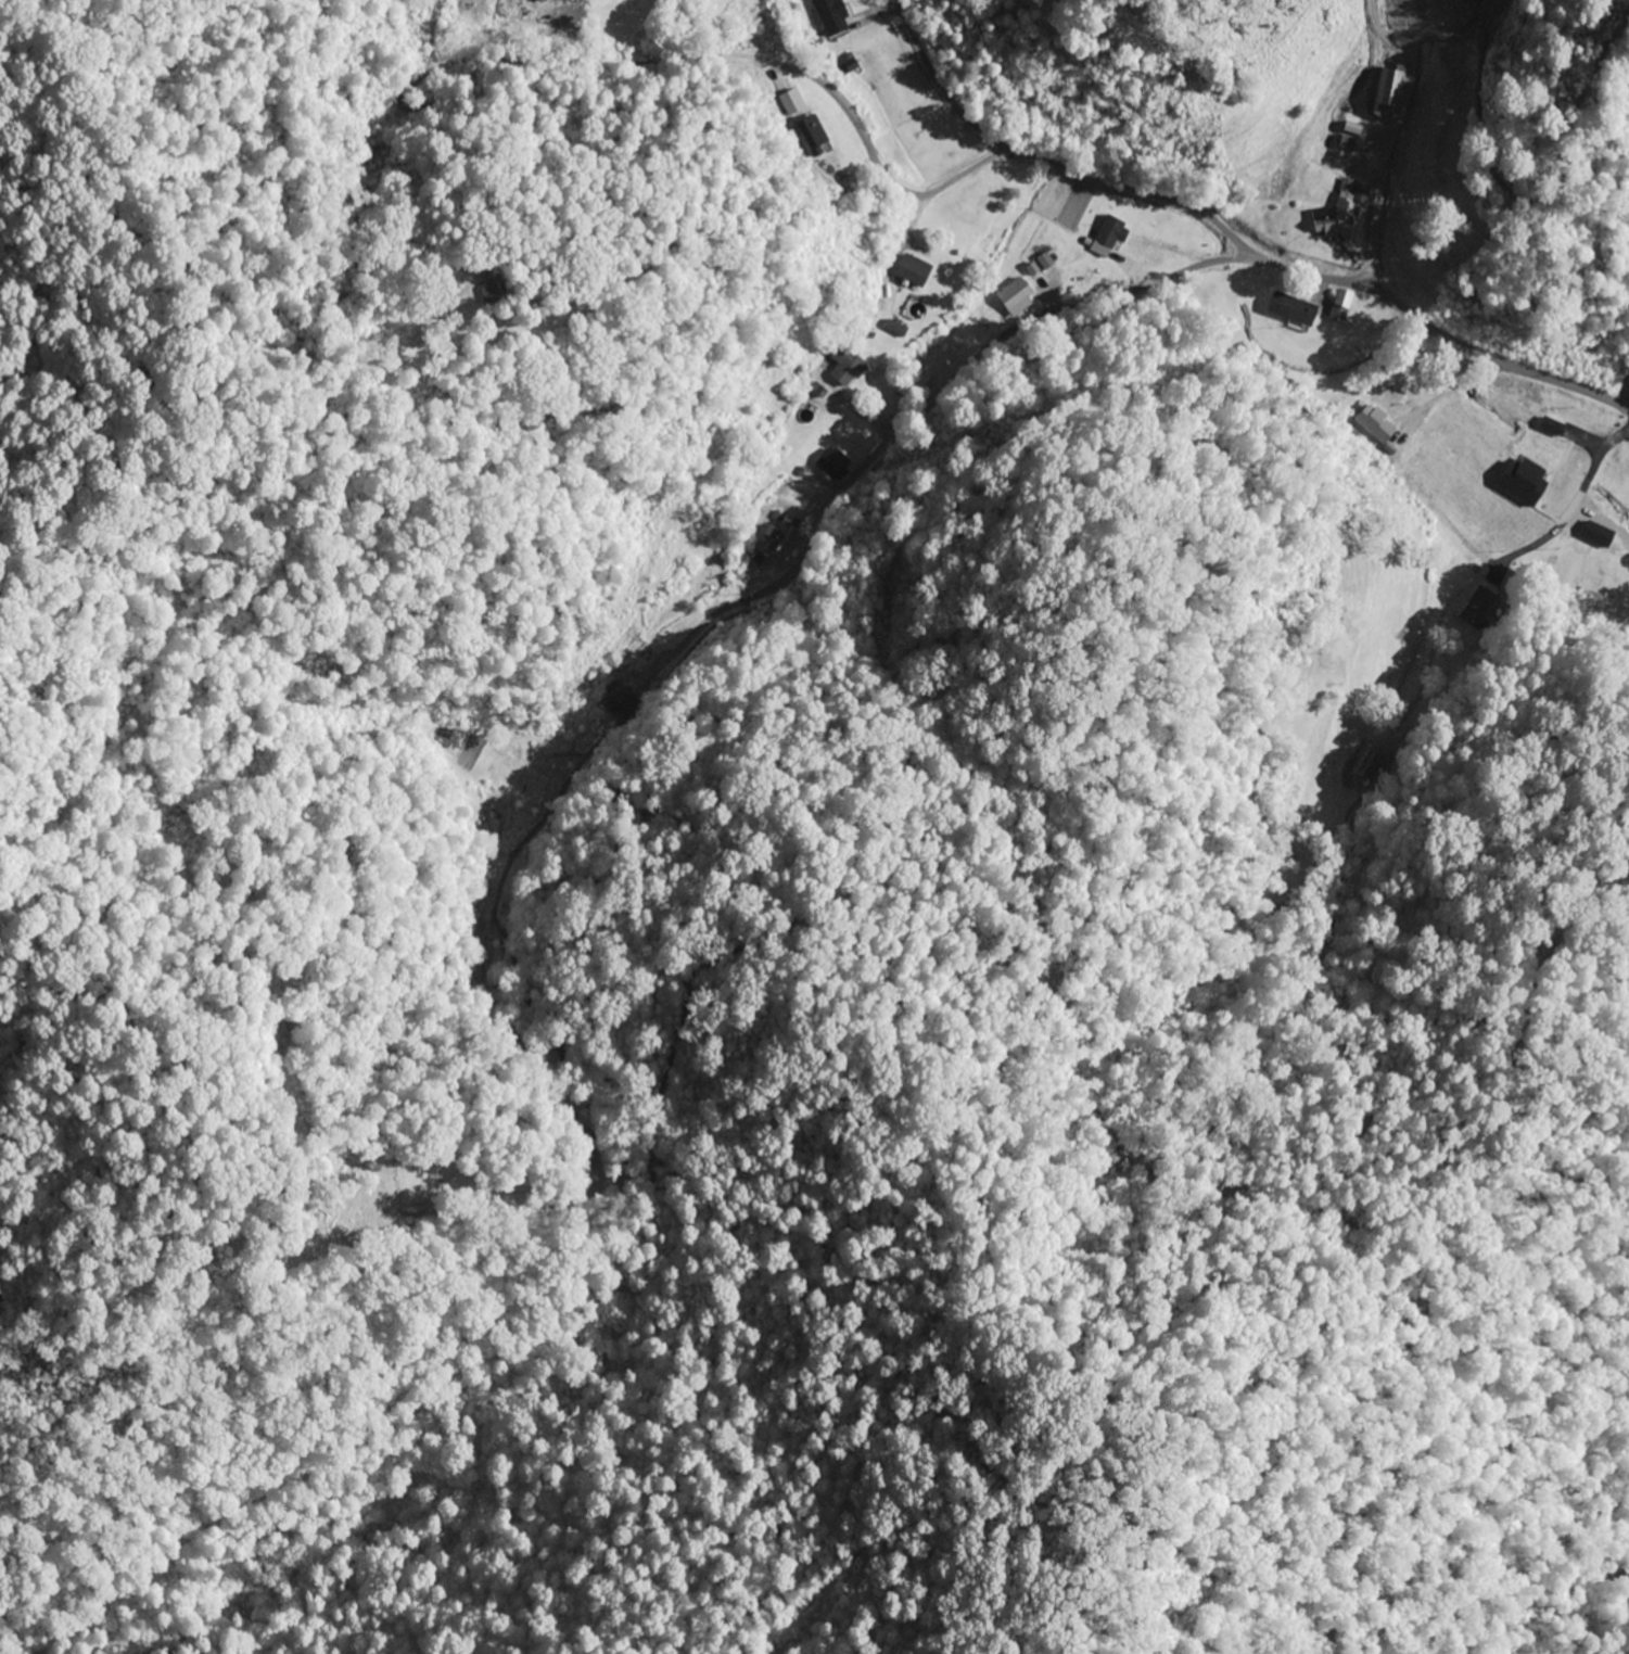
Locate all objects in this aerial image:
building: (544, 1)
building: (828, 12)
building: (1383, 93)
building: (1349, 131)
road: (1045, 160)
building: (1341, 212)
building: (1112, 233)
building: (913, 271)
road: (1157, 287)
building: (487, 289)
building: (1016, 297)
building: (1340, 306)
building: (844, 365)
building: (833, 465)
building: (1530, 492)
building: (780, 534)
building: (1477, 608)
building: (619, 703)
road: (1414, 743)
building: (1363, 765)

